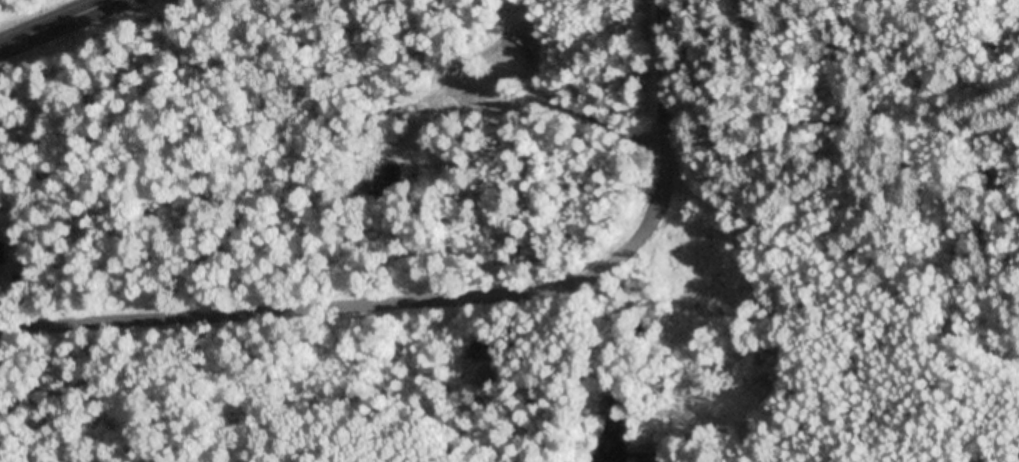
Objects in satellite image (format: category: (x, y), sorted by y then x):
road: (56, 23)
building: (4, 252)
road: (444, 296)

